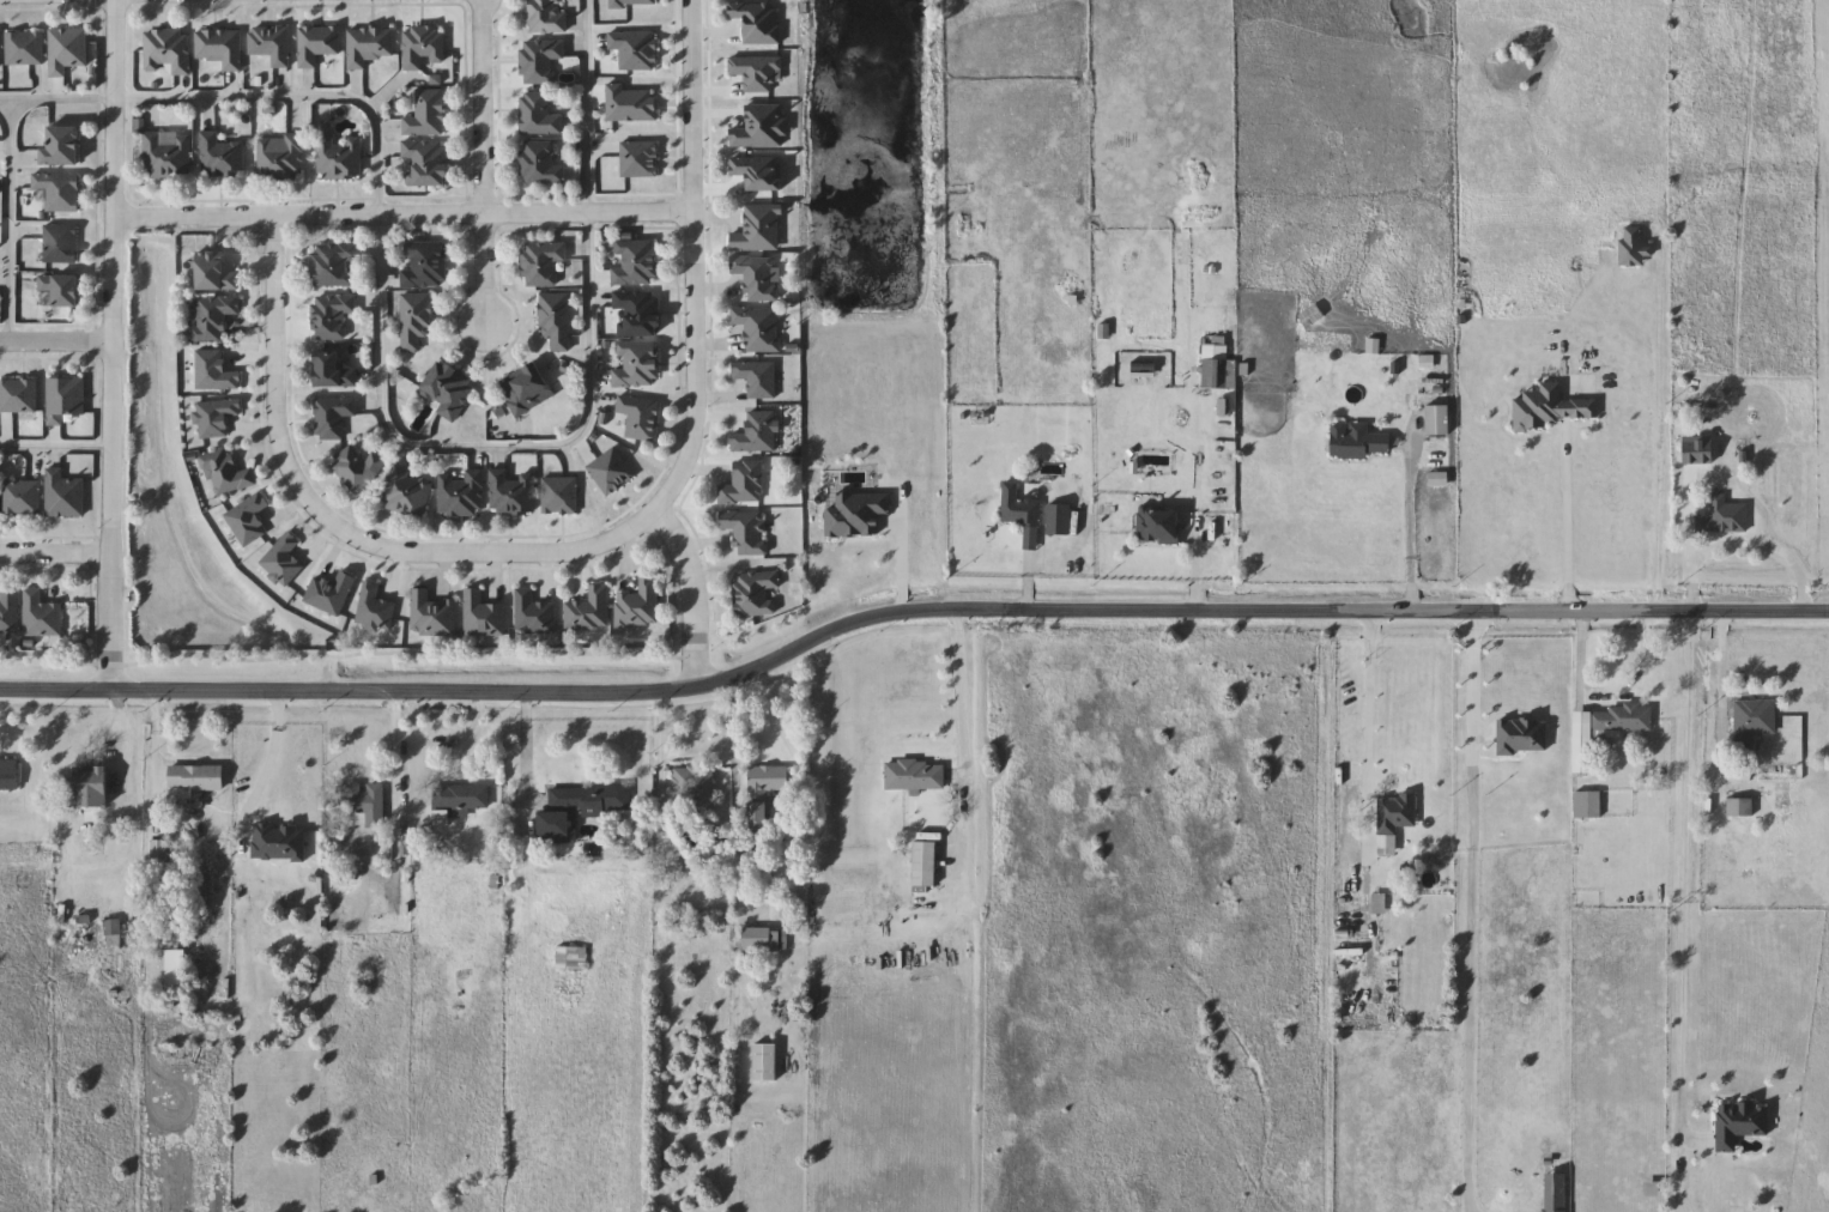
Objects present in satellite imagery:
building: (547, 17)
building: (271, 44)
building: (317, 44)
building: (370, 46)
building: (220, 47)
building: (424, 47)
building: (25, 48)
building: (0, 49)
building: (67, 50)
building: (168, 50)
building: (540, 61)
road: (480, 107)
building: (426, 114)
building: (539, 115)
building: (62, 147)
building: (168, 157)
building: (222, 157)
building: (339, 157)
building: (280, 158)
building: (426, 164)
building: (541, 164)
building: (59, 192)
road: (402, 213)
road: (11, 219)
building: (758, 229)
building: (60, 244)
road: (692, 261)
building: (635, 262)
building: (334, 265)
building: (425, 265)
building: (543, 265)
road: (483, 273)
building: (216, 274)
building: (758, 277)
building: (61, 290)
building: (637, 313)
building: (333, 315)
building: (213, 316)
building: (1312, 316)
building: (556, 320)
building: (416, 321)
building: (758, 328)
road: (56, 341)
road: (111, 346)
building: (637, 365)
building: (1217, 366)
building: (334, 371)
building: (448, 389)
building: (527, 389)
building: (18, 395)
building: (65, 399)
road: (381, 399)
building: (1549, 408)
building: (333, 417)
building: (640, 417)
building: (1439, 420)
road: (1657, 426)
building: (1358, 441)
road: (55, 447)
building: (358, 468)
building: (228, 473)
building: (745, 484)
building: (408, 491)
building: (462, 493)
building: (513, 493)
building: (63, 495)
building: (22, 498)
building: (1021, 514)
building: (1724, 516)
road: (1564, 517)
building: (1058, 520)
road: (1410, 521)
road: (338, 523)
building: (1159, 526)
building: (747, 531)
road: (903, 546)
road: (54, 552)
building: (755, 593)
road: (690, 594)
road: (906, 605)
building: (638, 606)
building: (589, 610)
building: (10, 611)
building: (533, 613)
building: (432, 614)
building: (483, 614)
building: (41, 616)
road: (1581, 657)
road: (1640, 677)
road: (1724, 678)
road: (963, 692)
building: (1752, 723)
road: (1370, 727)
building: (1604, 731)
road: (149, 758)
road: (272, 759)
building: (1742, 774)
building: (8, 775)
building: (915, 777)
building: (196, 778)
building: (92, 786)
building: (697, 786)
building: (765, 793)
building: (459, 802)
building: (367, 804)
building: (1588, 805)
building: (1740, 807)
building: (580, 808)
building: (1395, 812)
building: (159, 852)
road: (1470, 910)
road: (1688, 910)
building: (682, 925)
building: (114, 934)
building: (763, 939)
building: (571, 958)
building: (1350, 983)
building: (363, 984)
building: (765, 1063)
building: (1556, 1193)

